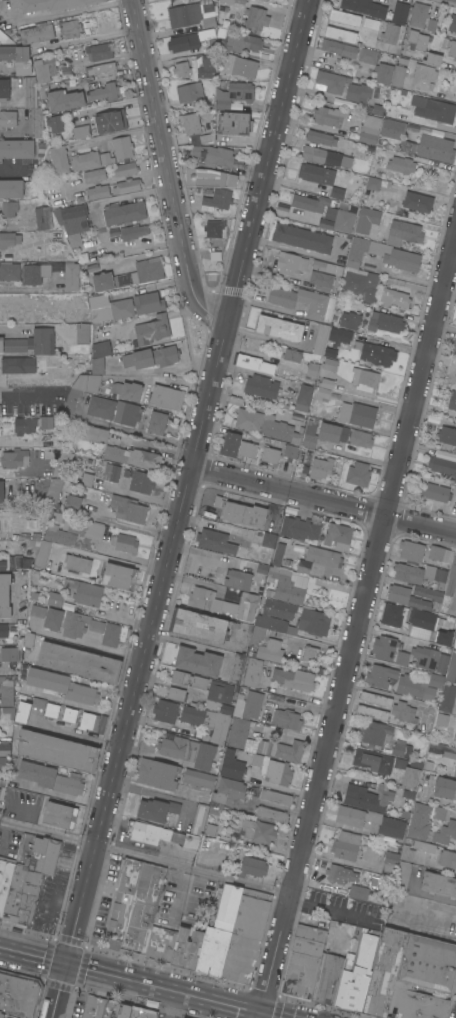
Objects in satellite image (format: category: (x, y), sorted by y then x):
building: (232, 1)
building: (51, 4)
building: (364, 7)
road: (73, 10)
building: (399, 13)
building: (192, 14)
building: (418, 14)
building: (344, 17)
building: (256, 18)
building: (6, 23)
building: (370, 23)
building: (431, 25)
building: (73, 26)
building: (451, 27)
building: (37, 33)
building: (389, 33)
building: (340, 34)
building: (190, 40)
building: (417, 40)
building: (242, 43)
building: (338, 48)
building: (452, 49)
building: (99, 51)
building: (374, 56)
building: (18, 58)
building: (432, 59)
building: (402, 61)
building: (235, 64)
building: (198, 66)
building: (45, 68)
building: (100, 68)
building: (382, 73)
building: (398, 76)
building: (423, 77)
building: (329, 81)
building: (20, 88)
building: (190, 91)
building: (104, 92)
building: (357, 92)
building: (235, 93)
building: (64, 99)
building: (378, 103)
road: (9, 104)
building: (432, 109)
building: (328, 116)
building: (8, 118)
building: (111, 121)
building: (37, 122)
building: (55, 123)
building: (191, 123)
building: (236, 123)
building: (391, 128)
building: (369, 129)
building: (81, 131)
road: (122, 133)
building: (322, 137)
building: (123, 147)
building: (430, 148)
building: (16, 149)
building: (319, 155)
building: (210, 156)
building: (59, 159)
building: (107, 159)
building: (86, 160)
building: (345, 161)
building: (400, 164)
road: (167, 167)
building: (126, 169)
building: (315, 174)
building: (95, 175)
building: (209, 177)
building: (373, 183)
building: (127, 186)
building: (11, 188)
building: (98, 191)
building: (336, 193)
building: (217, 200)
building: (417, 202)
building: (309, 203)
building: (9, 208)
building: (124, 212)
building: (44, 218)
building: (75, 218)
building: (366, 219)
building: (343, 220)
building: (215, 230)
building: (133, 231)
building: (405, 231)
building: (301, 238)
building: (9, 239)
building: (290, 264)
building: (327, 267)
building: (352, 270)
building: (9, 271)
building: (35, 273)
building: (130, 275)
road: (405, 275)
building: (71, 277)
building: (320, 280)
road: (23, 286)
building: (393, 298)
building: (304, 302)
building: (148, 303)
building: (12, 309)
building: (109, 309)
building: (72, 315)
building: (349, 320)
building: (384, 322)
building: (278, 328)
road: (12, 329)
building: (151, 330)
building: (83, 333)
building: (310, 334)
building: (338, 336)
building: (320, 339)
building: (31, 342)
building: (454, 348)
building: (373, 351)
building: (290, 355)
building: (152, 357)
building: (254, 363)
building: (18, 364)
building: (329, 364)
building: (312, 369)
building: (364, 377)
building: (87, 378)
building: (325, 383)
building: (261, 386)
building: (128, 390)
building: (322, 393)
building: (167, 397)
building: (303, 397)
building: (450, 405)
building: (101, 407)
building: (0, 408)
building: (127, 413)
building: (357, 414)
building: (157, 423)
building: (32, 424)
building: (265, 425)
building: (93, 433)
building: (343, 435)
building: (446, 435)
building: (309, 436)
building: (230, 444)
building: (246, 449)
building: (455, 449)
building: (289, 452)
building: (270, 455)
building: (134, 457)
building: (15, 458)
building: (62, 463)
building: (317, 466)
building: (442, 466)
building: (111, 472)
building: (357, 474)
building: (85, 476)
building: (141, 482)
road: (190, 482)
building: (453, 489)
building: (1, 491)
building: (22, 491)
building: (435, 492)
building: (53, 493)
road: (325, 499)
building: (73, 503)
road: (5, 504)
building: (124, 506)
building: (35, 514)
building: (244, 514)
building: (3, 524)
building: (80, 526)
building: (299, 529)
building: (337, 534)
building: (59, 535)
building: (268, 540)
building: (215, 541)
building: (125, 543)
building: (411, 550)
building: (438, 553)
building: (42, 554)
building: (277, 554)
building: (320, 555)
building: (19, 562)
building: (77, 563)
building: (3, 564)
building: (306, 567)
building: (419, 574)
building: (120, 576)
building: (236, 579)
building: (287, 584)
building: (451, 588)
building: (85, 592)
building: (427, 594)
building: (5, 595)
building: (405, 597)
building: (55, 599)
building: (203, 600)
building: (246, 606)
building: (37, 611)
building: (391, 615)
building: (53, 619)
building: (311, 623)
building: (421, 623)
building: (79, 624)
building: (198, 624)
road: (358, 624)
building: (4, 630)
building: (111, 635)
building: (443, 636)
building: (27, 639)
road: (315, 643)
building: (383, 647)
building: (269, 650)
building: (10, 654)
building: (309, 654)
building: (424, 657)
building: (401, 658)
building: (197, 661)
building: (79, 662)
building: (451, 665)
building: (236, 668)
building: (252, 672)
building: (380, 676)
building: (179, 677)
building: (293, 679)
building: (199, 682)
building: (62, 685)
building: (419, 686)
building: (175, 694)
building: (218, 694)
building: (7, 696)
building: (446, 698)
building: (374, 699)
building: (36, 702)
building: (251, 705)
building: (52, 710)
building: (164, 711)
building: (23, 712)
building: (371, 712)
building: (403, 712)
building: (69, 715)
building: (285, 719)
building: (441, 719)
building: (88, 721)
building: (207, 722)
building: (237, 732)
building: (376, 733)
road: (81, 735)
building: (5, 746)
building: (433, 747)
building: (398, 749)
building: (58, 750)
building: (280, 750)
building: (187, 751)
building: (449, 752)
building: (256, 760)
building: (372, 760)
building: (4, 763)
building: (231, 765)
building: (277, 772)
building: (406, 772)
building: (455, 772)
building: (156, 773)
building: (51, 777)
building: (198, 779)
building: (444, 787)
building: (0, 790)
building: (225, 796)
building: (274, 796)
building: (367, 797)
building: (455, 797)
building: (455, 808)
building: (156, 809)
building: (270, 813)
building: (438, 813)
building: (60, 814)
building: (198, 818)
building: (370, 821)
building: (419, 821)
building: (211, 830)
building: (445, 832)
road: (49, 833)
building: (258, 833)
building: (159, 834)
building: (345, 845)
building: (424, 846)
building: (406, 853)
building: (391, 858)
building: (447, 859)
building: (252, 867)
building: (388, 870)
road: (193, 871)
building: (336, 873)
building: (401, 876)
building: (5, 880)
building: (30, 881)
building: (438, 884)
building: (364, 888)
road: (426, 893)
building: (122, 898)
building: (142, 909)
building: (309, 932)
building: (218, 934)
building: (245, 936)
building: (160, 945)
building: (186, 948)
road: (33, 955)
building: (300, 968)
building: (384, 972)
building: (356, 976)
building: (423, 978)
building: (328, 979)
road: (60, 991)
road: (169, 991)
building: (19, 993)
building: (93, 1007)
building: (116, 1010)
building: (142, 1012)
building: (1, 1014)

